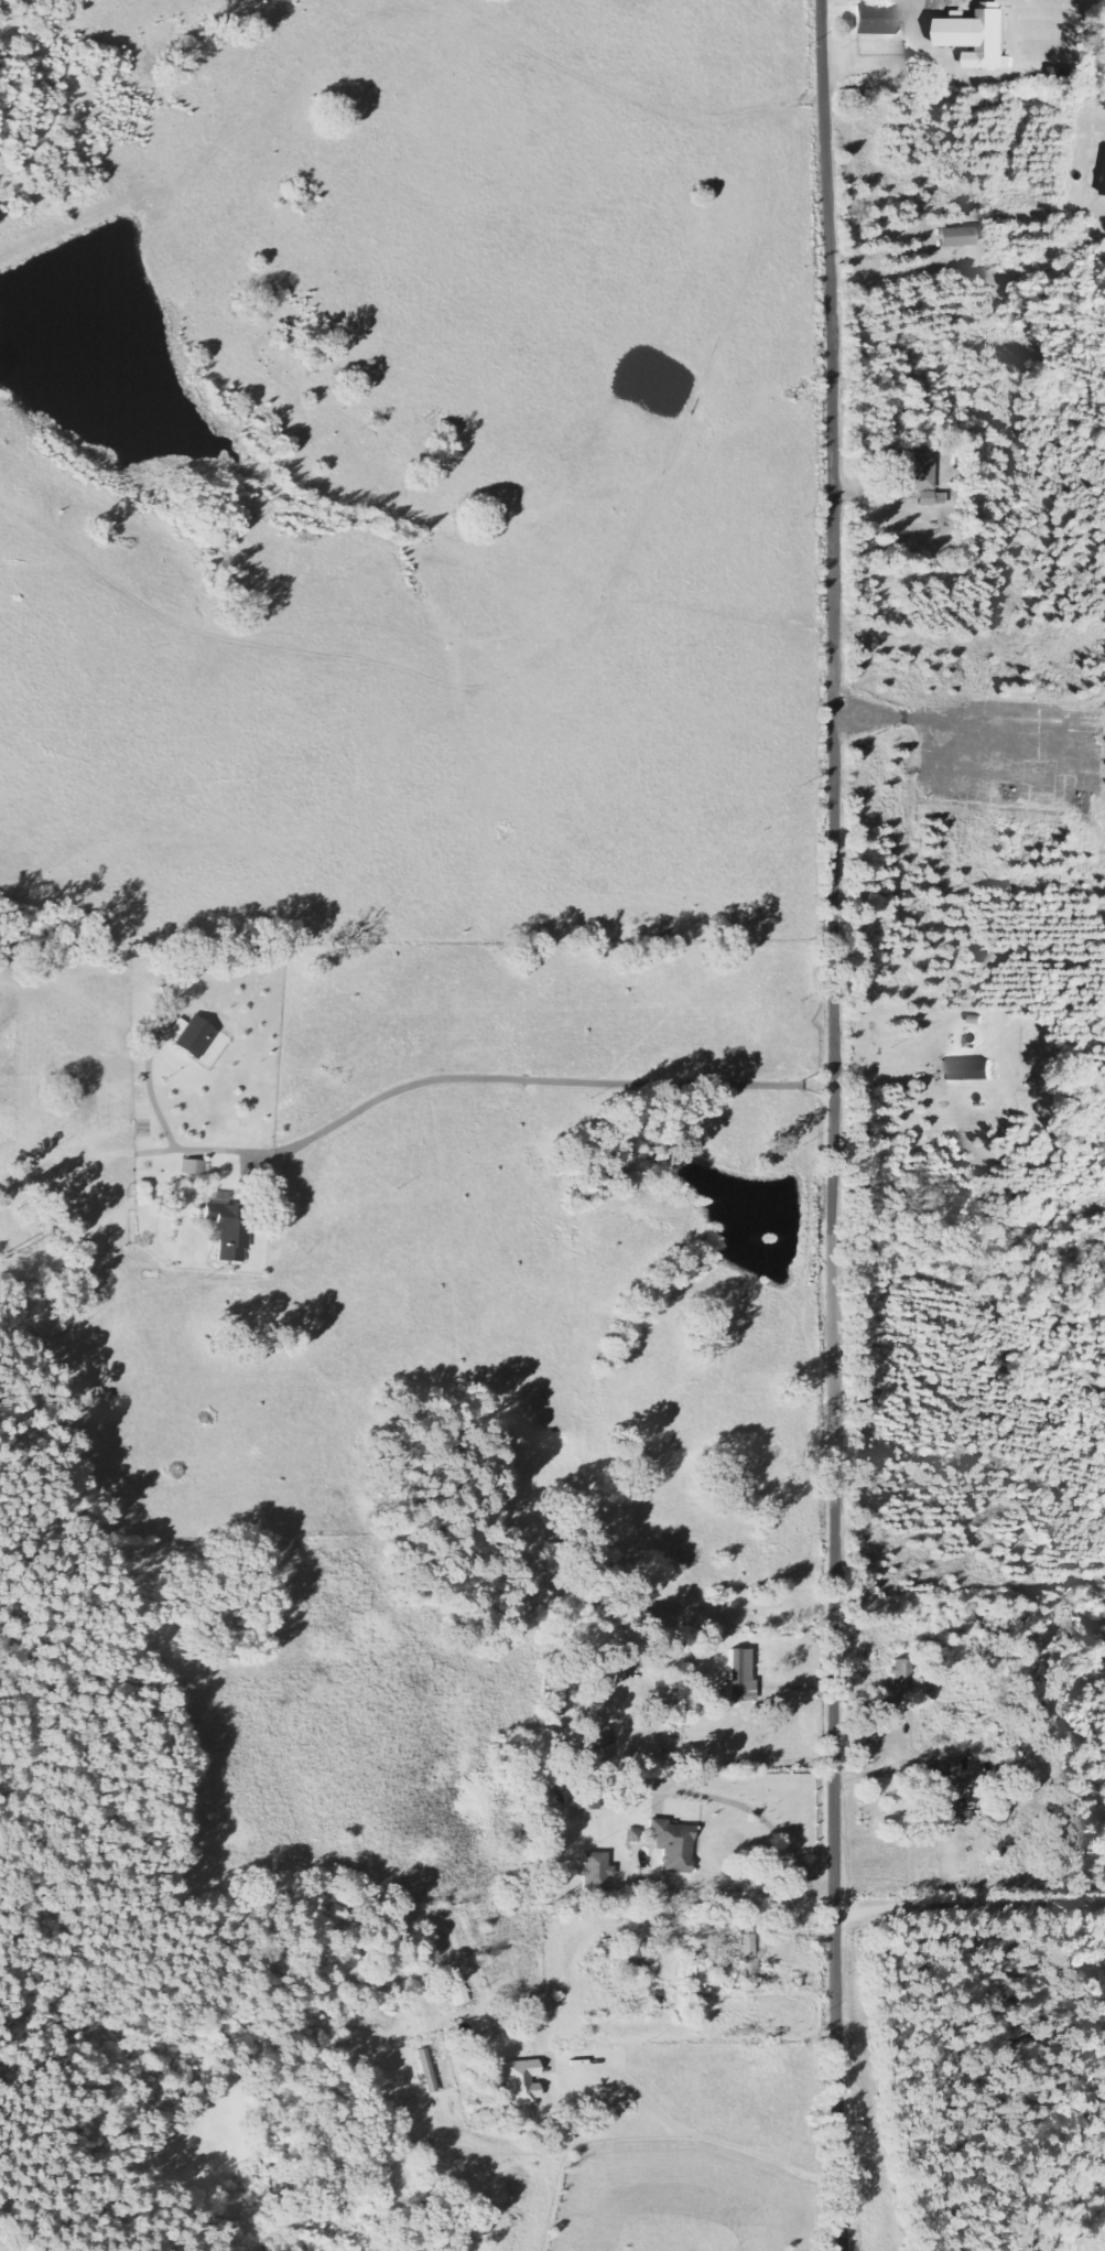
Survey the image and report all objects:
building: (876, 19)
building: (981, 36)
building: (1104, 193)
building: (958, 238)
building: (924, 472)
road: (681, 499)
building: (933, 499)
road: (709, 1030)
building: (162, 1032)
building: (194, 1036)
building: (967, 1070)
road: (832, 1124)
building: (195, 1167)
building: (230, 1226)
building: (902, 1672)
building: (740, 1678)
building: (933, 1791)
building: (633, 1837)
building: (673, 1845)
building: (596, 1873)
building: (638, 1953)
building: (748, 1960)
building: (461, 1996)
building: (426, 2072)
building: (521, 2083)

